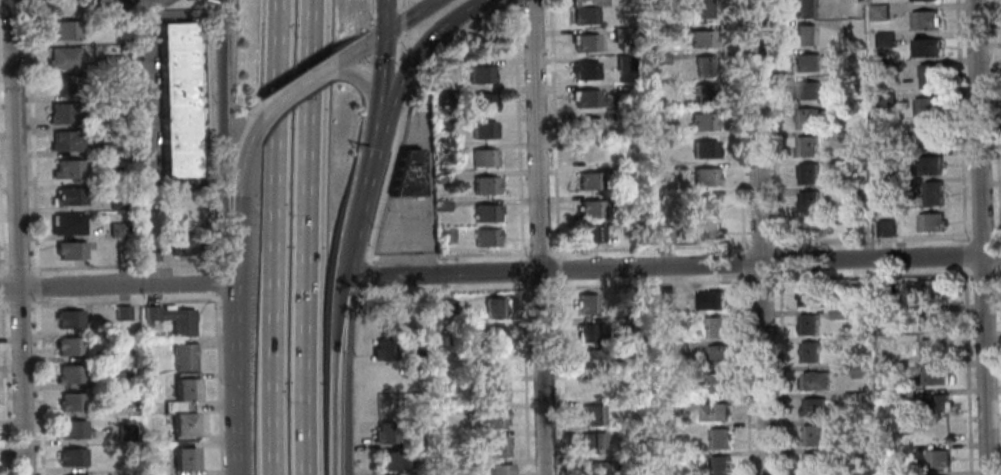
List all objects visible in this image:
building: (918, 0)
building: (694, 7)
building: (802, 8)
building: (586, 11)
building: (879, 12)
road: (384, 14)
road: (409, 15)
road: (459, 16)
building: (924, 20)
building: (64, 30)
traffic signals: (385, 30)
building: (667, 30)
building: (802, 34)
building: (619, 35)
building: (884, 38)
building: (700, 39)
road: (400, 41)
building: (584, 42)
road: (360, 46)
building: (476, 47)
building: (925, 47)
building: (62, 58)
building: (659, 58)
building: (113, 62)
building: (624, 62)
building: (805, 62)
building: (704, 66)
building: (883, 67)
building: (584, 70)
road: (381, 72)
building: (480, 74)
building: (928, 76)
building: (844, 80)
building: (64, 84)
road: (296, 89)
building: (807, 89)
building: (112, 91)
building: (704, 94)
building: (439, 96)
building: (589, 99)
building: (884, 99)
building: (416, 100)
building: (175, 102)
road: (392, 102)
building: (481, 102)
building: (845, 107)
building: (925, 107)
road: (406, 108)
building: (65, 113)
building: (619, 115)
building: (660, 118)
building: (808, 118)
building: (702, 121)
road: (961, 121)
road: (996, 121)
building: (439, 122)
road: (774, 123)
road: (740, 125)
building: (587, 126)
road: (554, 128)
building: (482, 129)
road: (517, 130)
road: (210, 134)
building: (930, 135)
road: (32, 137)
building: (847, 138)
building: (65, 141)
road: (16, 142)
road: (220, 142)
building: (621, 142)
building: (660, 142)
building: (805, 146)
road: (373, 147)
building: (102, 148)
building: (703, 148)
building: (451, 150)
building: (588, 153)
building: (482, 157)
building: (837, 163)
building: (927, 165)
building: (67, 169)
building: (625, 171)
building: (807, 174)
building: (403, 175)
building: (704, 176)
building: (439, 177)
building: (589, 180)
building: (888, 183)
building: (484, 185)
road: (240, 191)
building: (931, 194)
building: (71, 196)
building: (116, 201)
building: (807, 201)
building: (707, 204)
building: (441, 205)
building: (591, 208)
building: (484, 213)
building: (930, 222)
building: (66, 225)
building: (811, 226)
building: (884, 227)
building: (116, 230)
building: (705, 230)
road: (355, 232)
building: (591, 233)
building: (663, 233)
building: (444, 234)
road: (982, 236)
road: (997, 236)
road: (279, 237)
road: (312, 237)
building: (485, 237)
road: (538, 237)
road: (760, 237)
road: (981, 237)
road: (871, 240)
road: (760, 244)
building: (180, 246)
road: (651, 247)
building: (70, 250)
road: (541, 251)
building: (147, 252)
road: (450, 254)
road: (1000, 254)
road: (964, 255)
building: (120, 256)
road: (778, 260)
road: (744, 263)
road: (120, 266)
road: (674, 266)
road: (17, 269)
road: (559, 269)
road: (1000, 269)
road: (3, 270)
road: (524, 271)
road: (982, 272)
road: (998, 272)
road: (235, 274)
road: (362, 274)
road: (872, 276)
road: (762, 279)
road: (214, 281)
road: (126, 283)
road: (651, 283)
road: (10, 286)
road: (36, 286)
building: (855, 286)
road: (0, 287)
road: (540, 287)
road: (526, 288)
road: (441, 289)
building: (934, 289)
building: (637, 295)
building: (663, 295)
building: (806, 296)
building: (710, 300)
road: (121, 302)
building: (586, 304)
road: (3, 305)
road: (18, 305)
building: (444, 306)
building: (493, 307)
building: (120, 312)
building: (837, 313)
building: (68, 319)
building: (170, 319)
building: (930, 319)
building: (674, 321)
building: (383, 322)
building: (808, 323)
building: (715, 326)
building: (591, 333)
building: (494, 335)
building: (68, 346)
building: (677, 347)
building: (933, 348)
building: (382, 350)
building: (118, 351)
building: (808, 351)
building: (416, 355)
building: (716, 355)
building: (182, 357)
building: (592, 358)
building: (498, 363)
building: (859, 370)
road: (968, 371)
building: (69, 373)
road: (783, 373)
road: (747, 375)
building: (934, 375)
building: (639, 377)
building: (120, 378)
building: (386, 378)
road: (562, 378)
road: (234, 379)
road: (332, 379)
road: (526, 379)
building: (814, 379)
road: (22, 380)
road: (346, 380)
road: (357, 381)
building: (717, 382)
road: (216, 384)
building: (182, 385)
road: (3, 386)
road: (39, 386)
building: (589, 386)
building: (494, 390)
building: (905, 394)
building: (183, 396)
building: (851, 397)
building: (69, 402)
building: (127, 402)
building: (934, 403)
building: (385, 405)
building: (813, 405)
building: (670, 406)
building: (712, 411)
building: (591, 415)
building: (493, 417)
building: (180, 419)
building: (850, 423)
building: (71, 429)
building: (938, 430)
building: (181, 431)
building: (124, 432)
building: (383, 432)
building: (811, 434)
building: (718, 437)
building: (590, 442)
building: (498, 446)
building: (181, 455)
building: (71, 457)
building: (937, 458)
building: (390, 460)
building: (812, 461)
building: (719, 465)
building: (182, 466)
building: (595, 468)
building: (499, 470)

